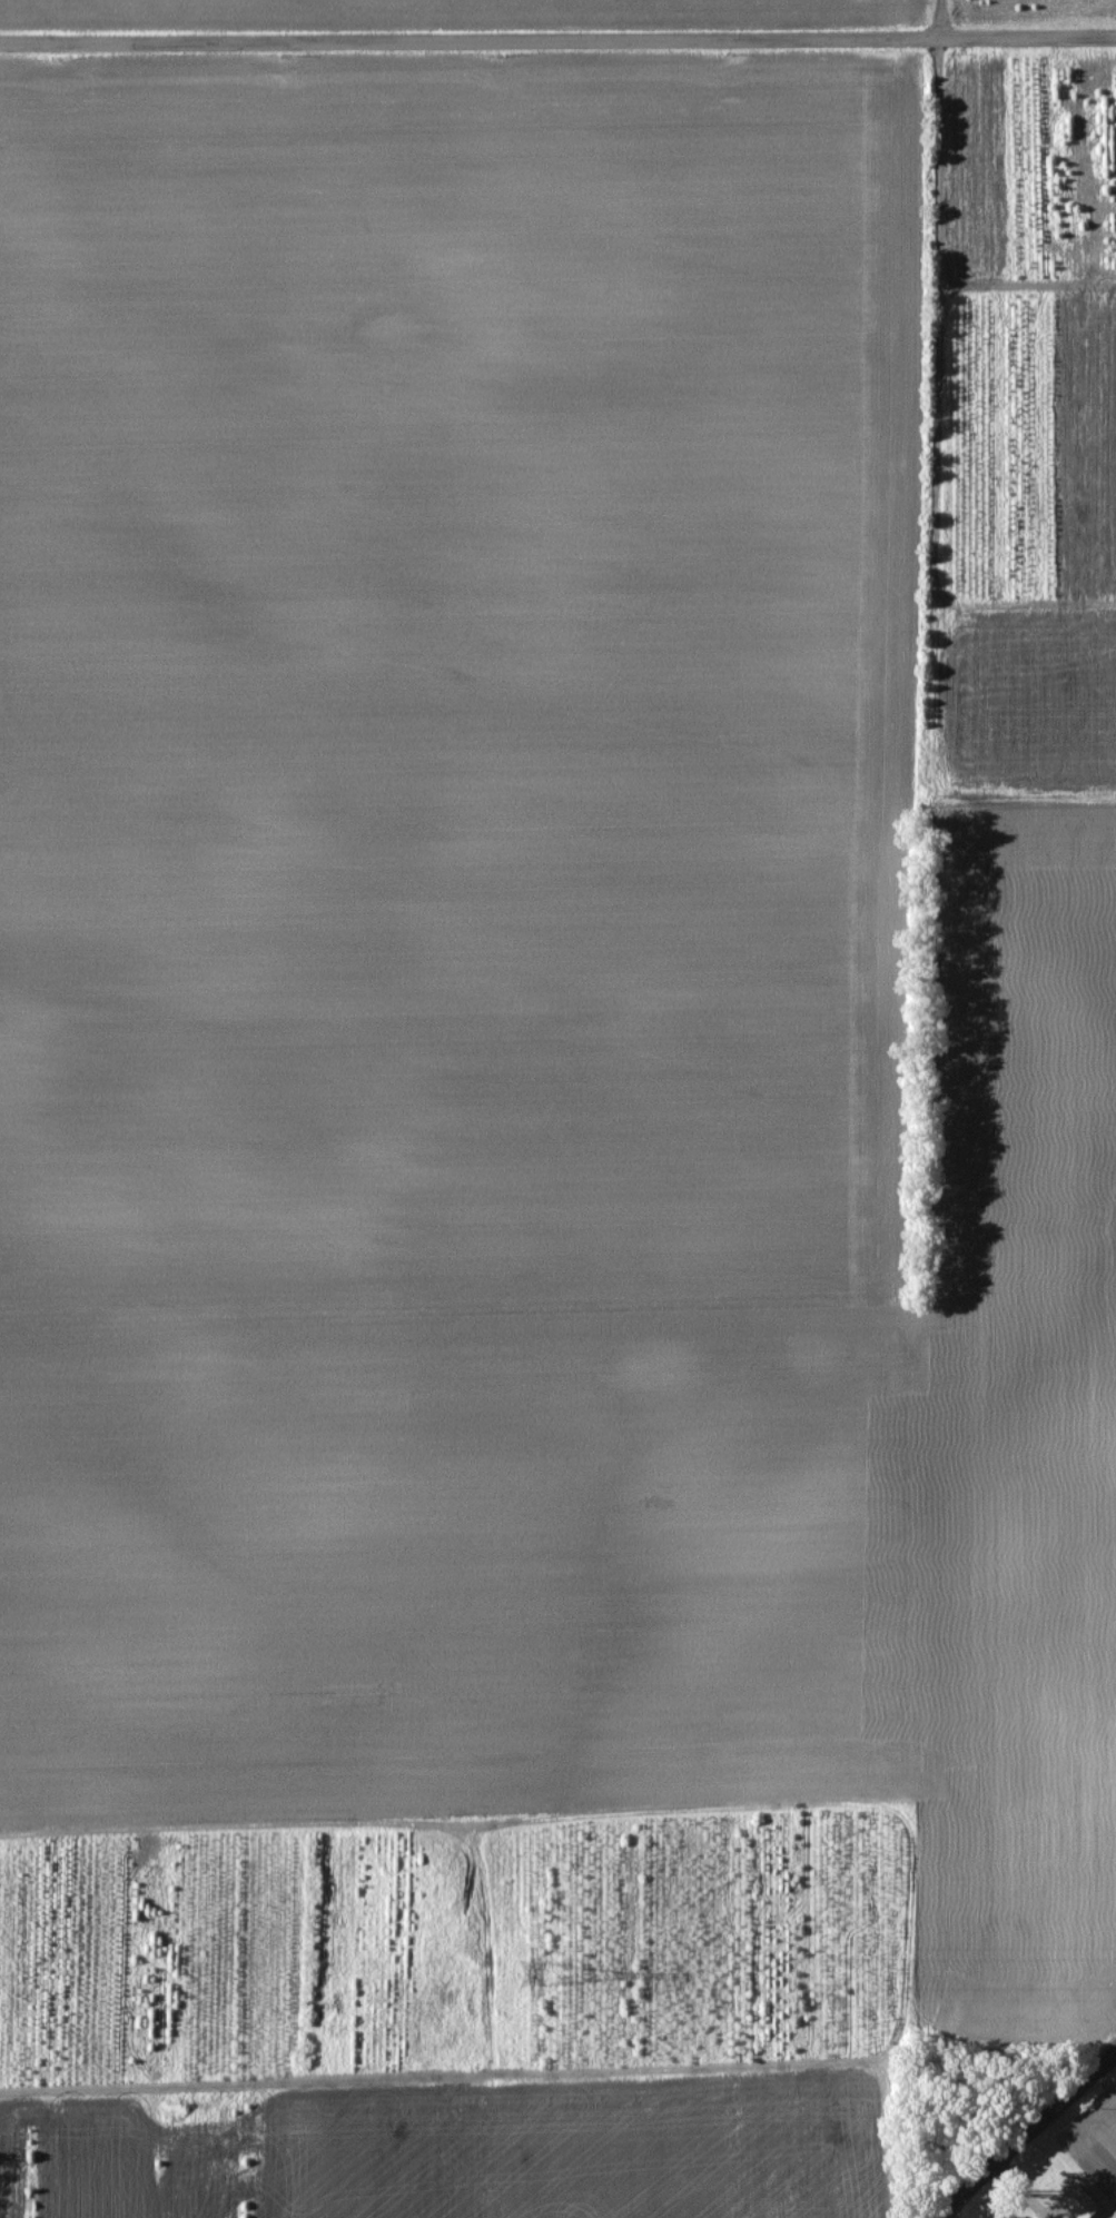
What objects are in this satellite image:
road: (557, 39)
power tower: (532, 1973)
building: (466, 2059)
road: (1028, 2133)
building: (1007, 2217)

